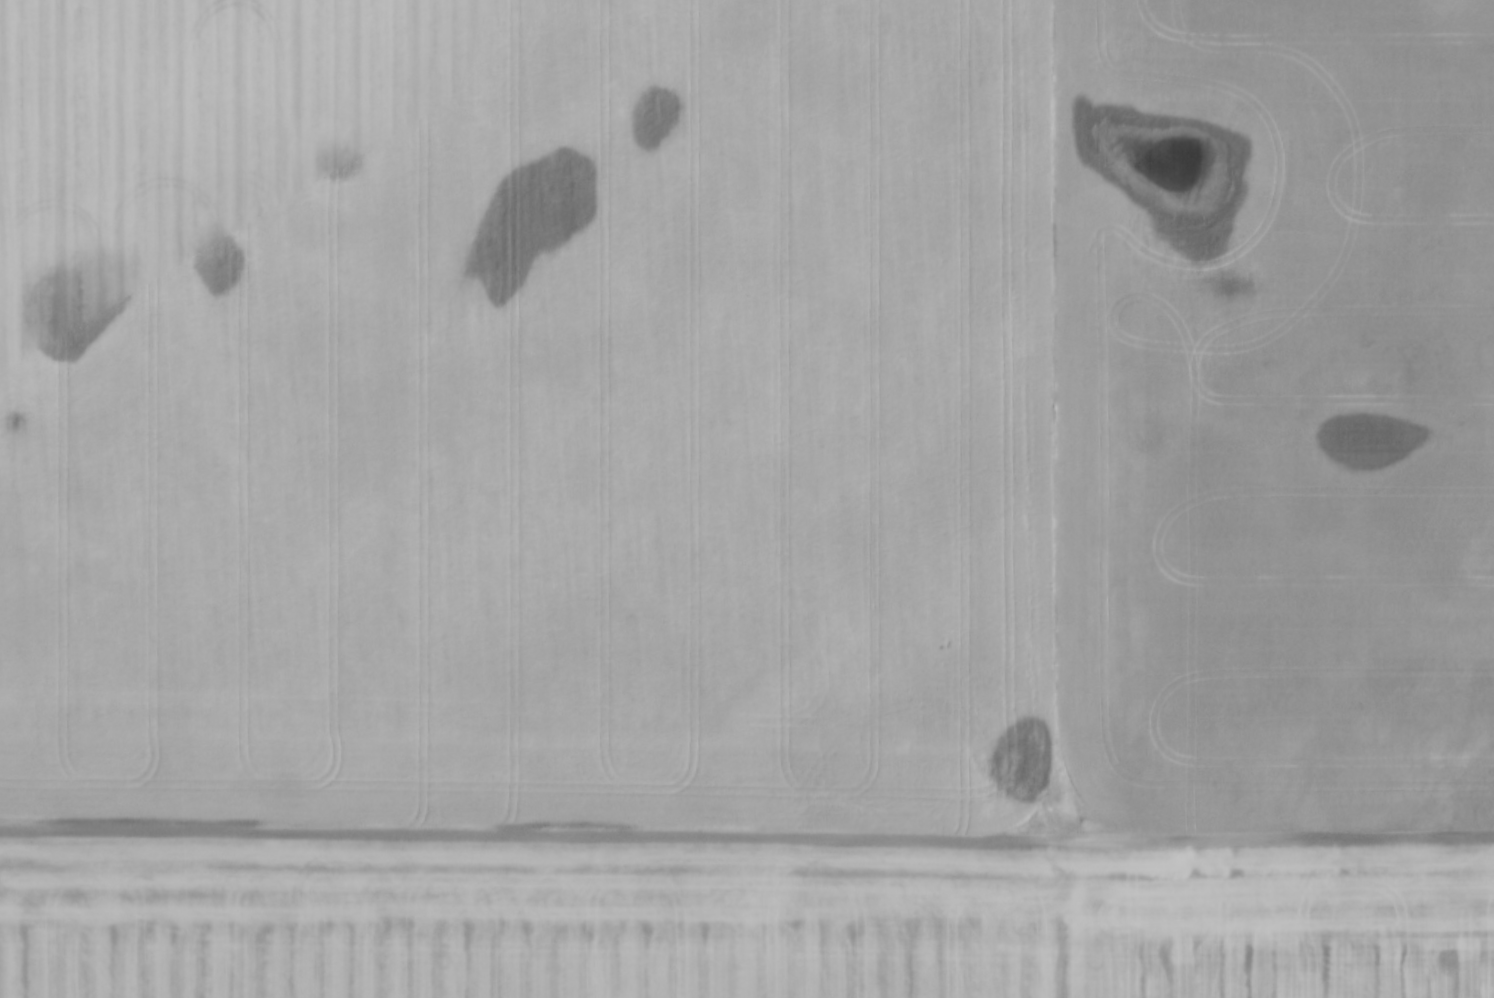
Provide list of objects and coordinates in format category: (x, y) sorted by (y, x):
road: (746, 829)

